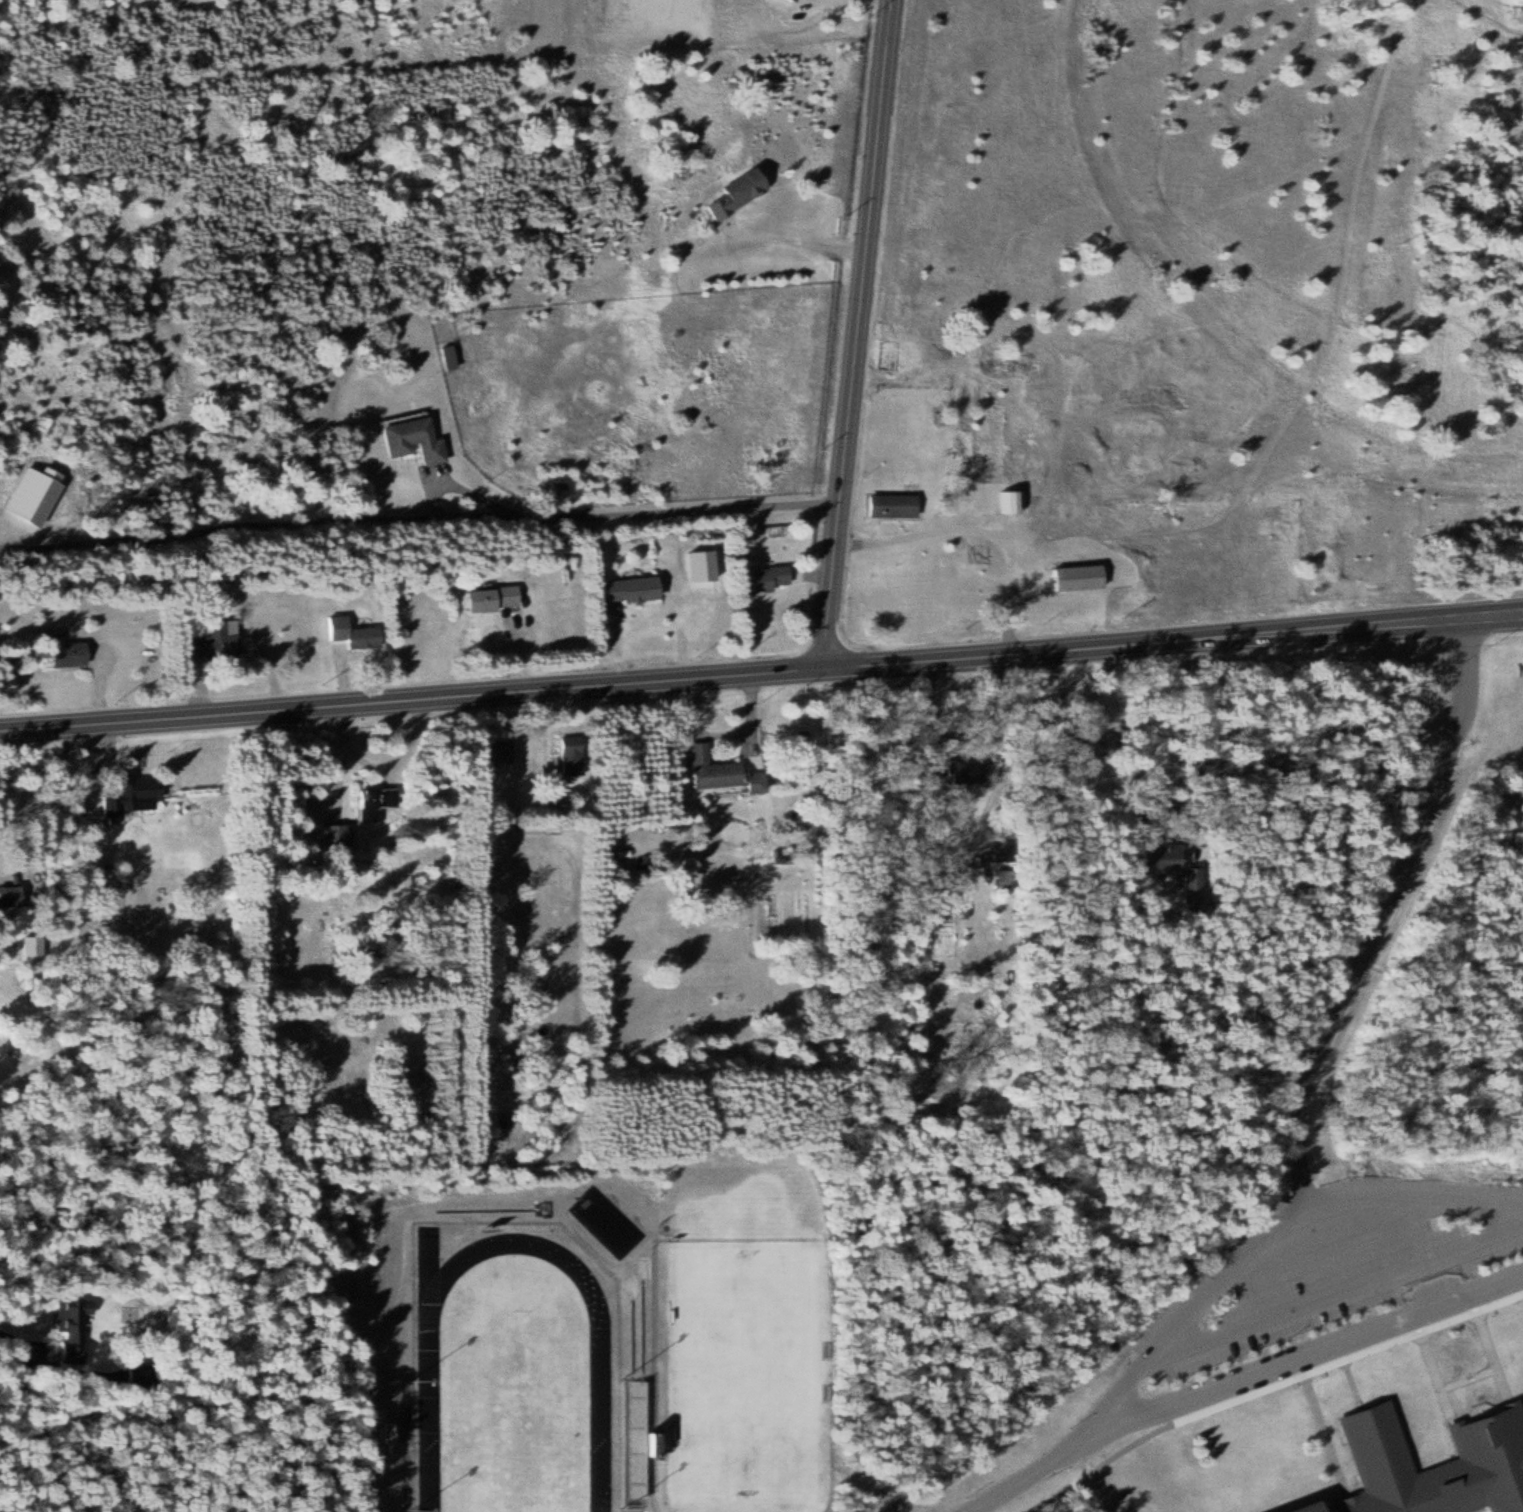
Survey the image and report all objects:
building: (726, 194)
road: (791, 239)
road: (855, 335)
building: (882, 356)
building: (419, 440)
building: (1004, 501)
building: (885, 504)
building: (1069, 577)
building: (756, 579)
building: (234, 583)
building: (622, 589)
building: (498, 597)
building: (356, 632)
building: (218, 642)
building: (66, 652)
road: (761, 674)
building: (1075, 745)
building: (499, 751)
building: (575, 755)
building: (706, 770)
building: (945, 772)
building: (135, 797)
building: (379, 802)
building: (349, 835)
building: (1157, 860)
road: (1263, 1230)
building: (76, 1327)
road: (1234, 1374)
building: (144, 1378)
park: (512, 1414)
track: (428, 1420)
building: (641, 1443)
building: (397, 1445)
building: (1484, 1445)

